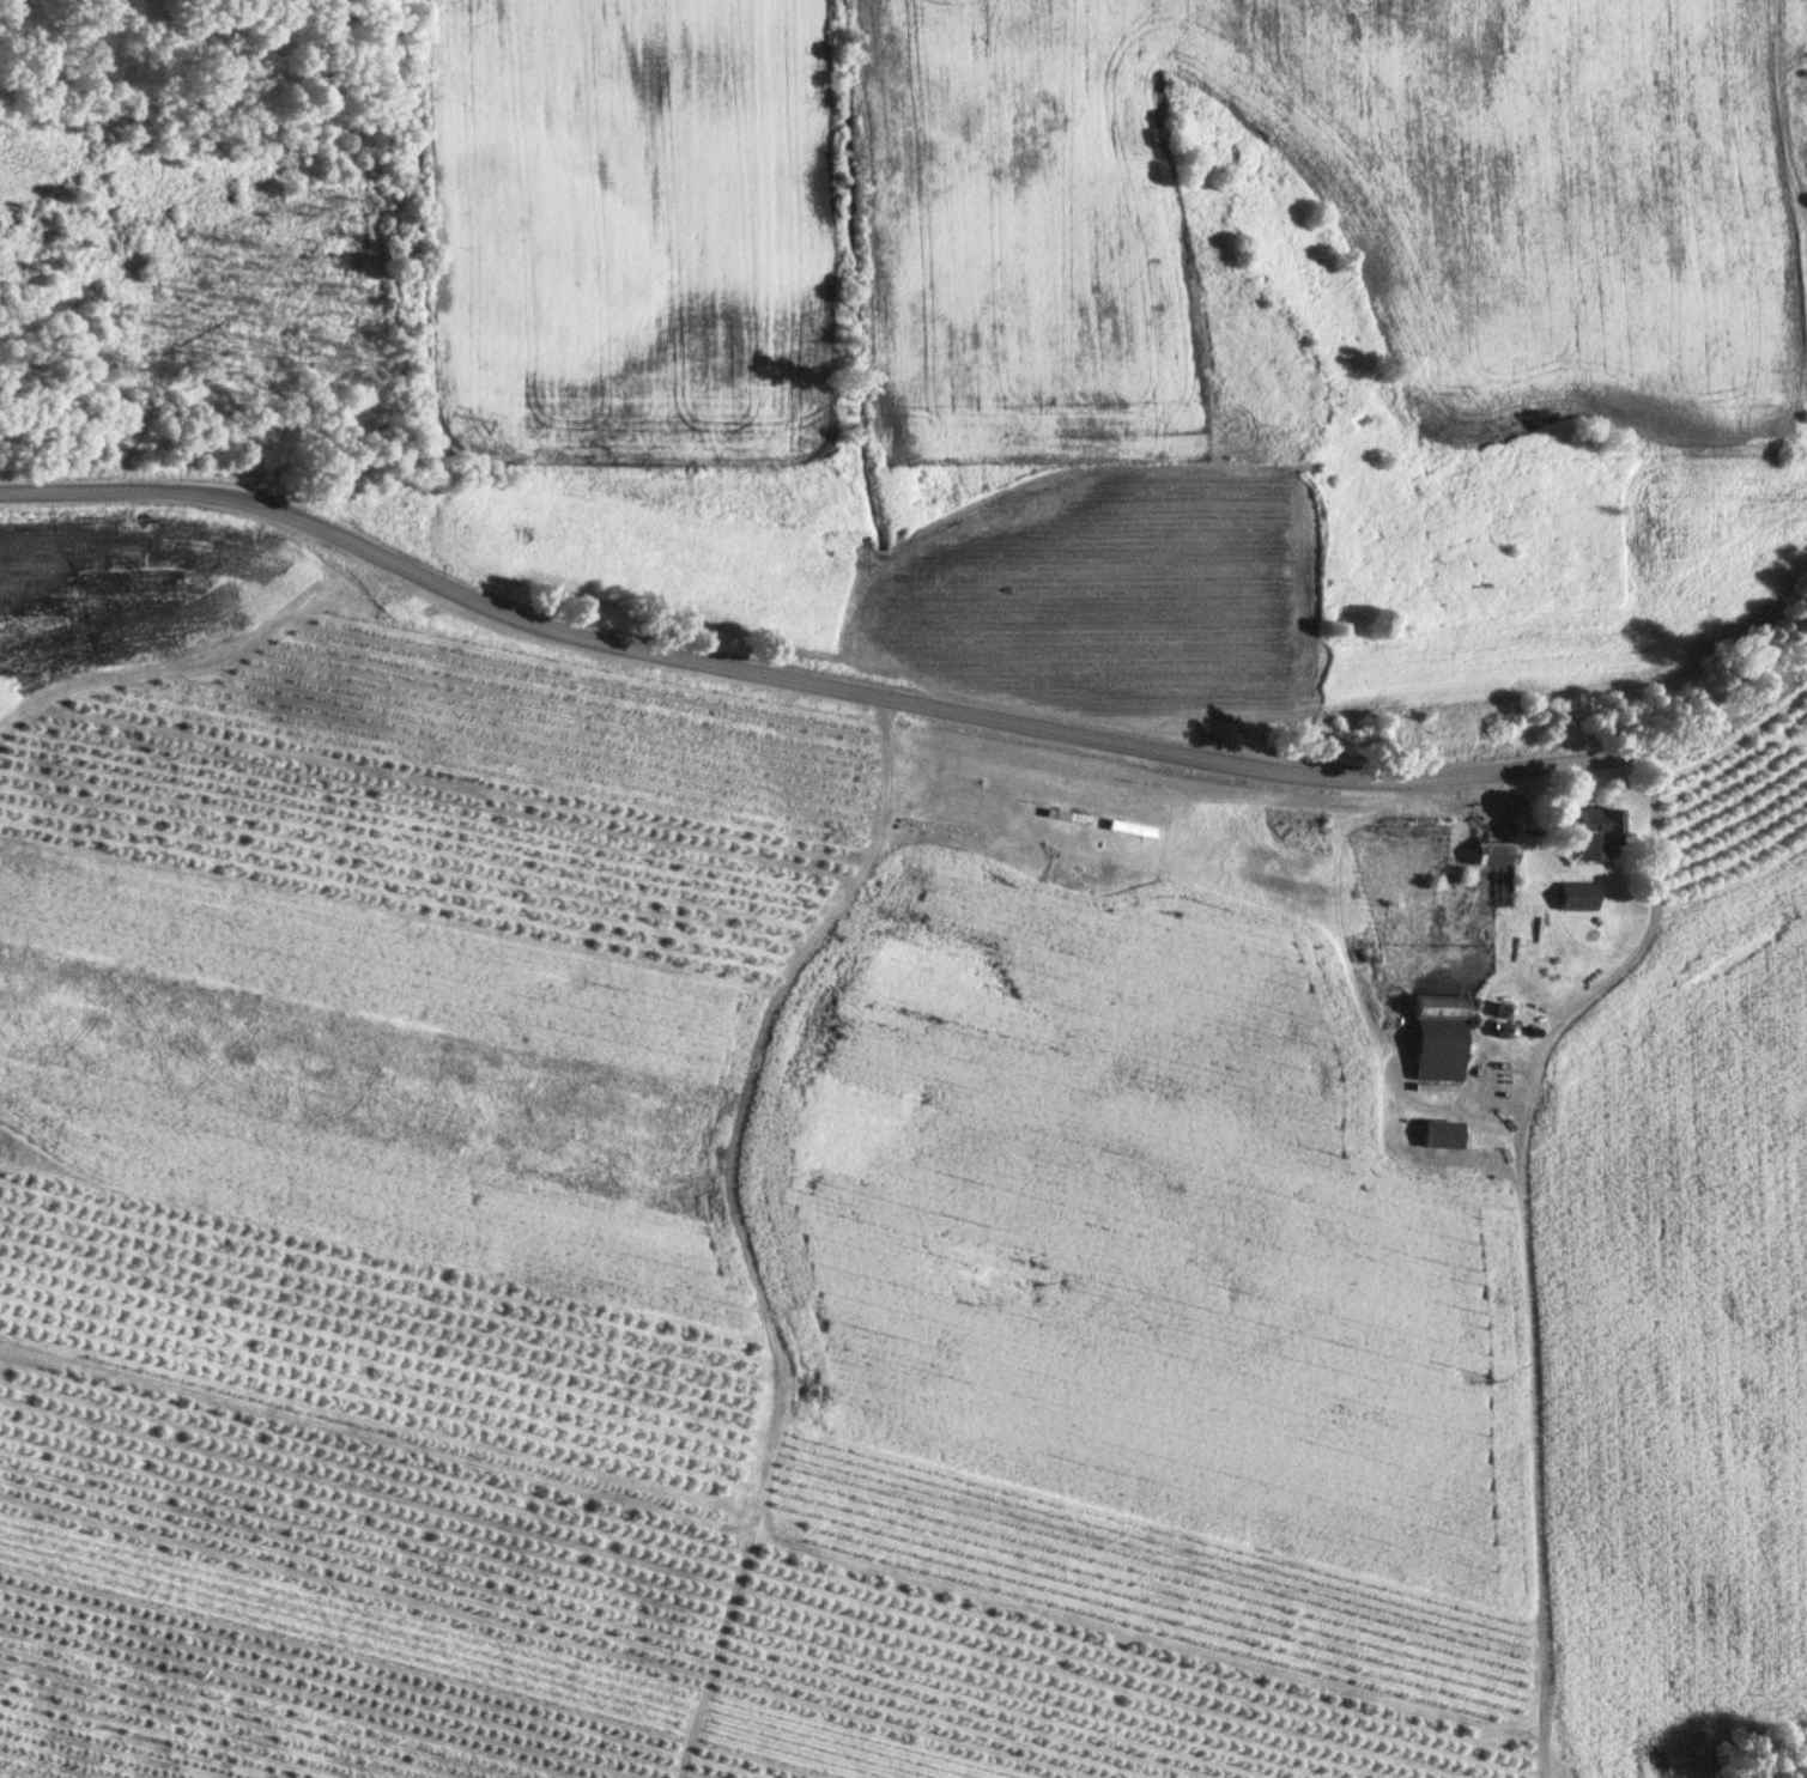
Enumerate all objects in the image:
road: (906, 699)
building: (1067, 815)
building: (1130, 829)
building: (1602, 832)
building: (1497, 854)
building: (1581, 896)
road: (1641, 943)
building: (1441, 1037)
building: (1443, 1134)

